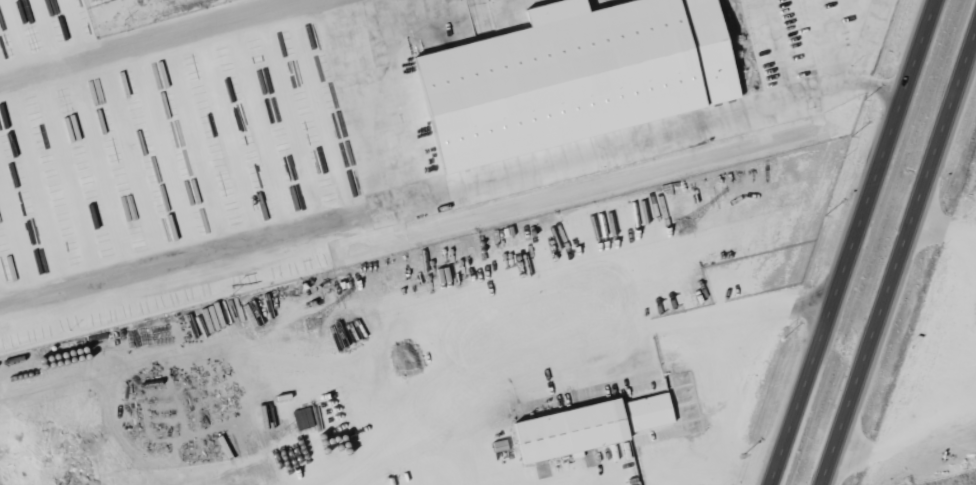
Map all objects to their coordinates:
building: (578, 76)
power tower: (681, 224)
road: (855, 242)
road: (897, 254)
power tower: (313, 322)
building: (590, 427)

